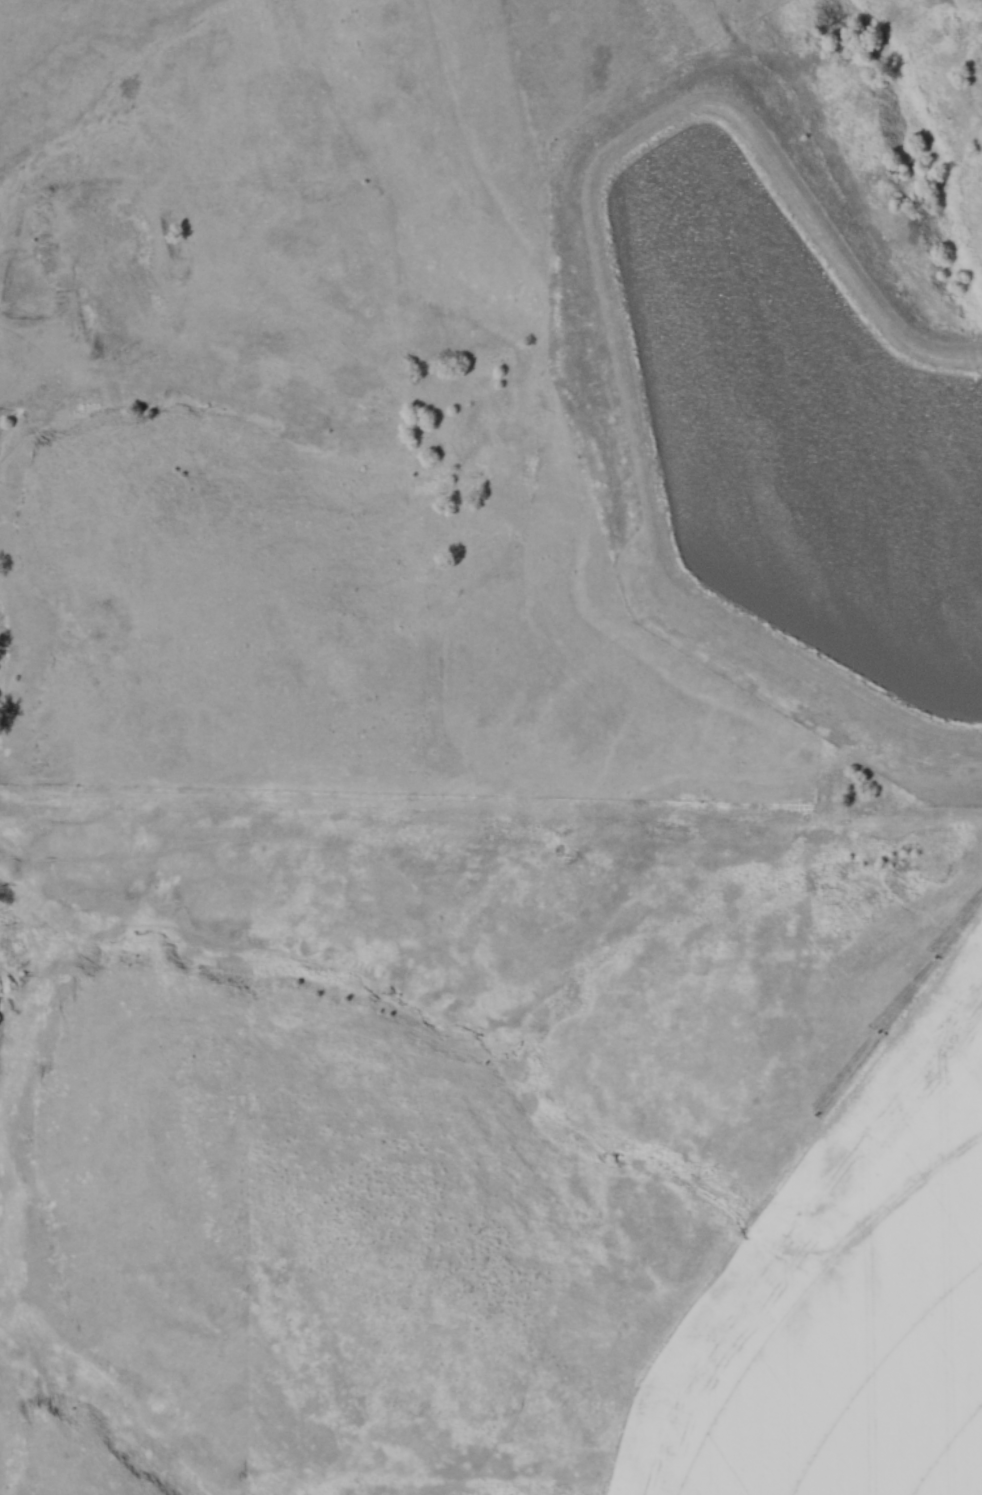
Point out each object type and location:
wastewater plant: (791, 367)

